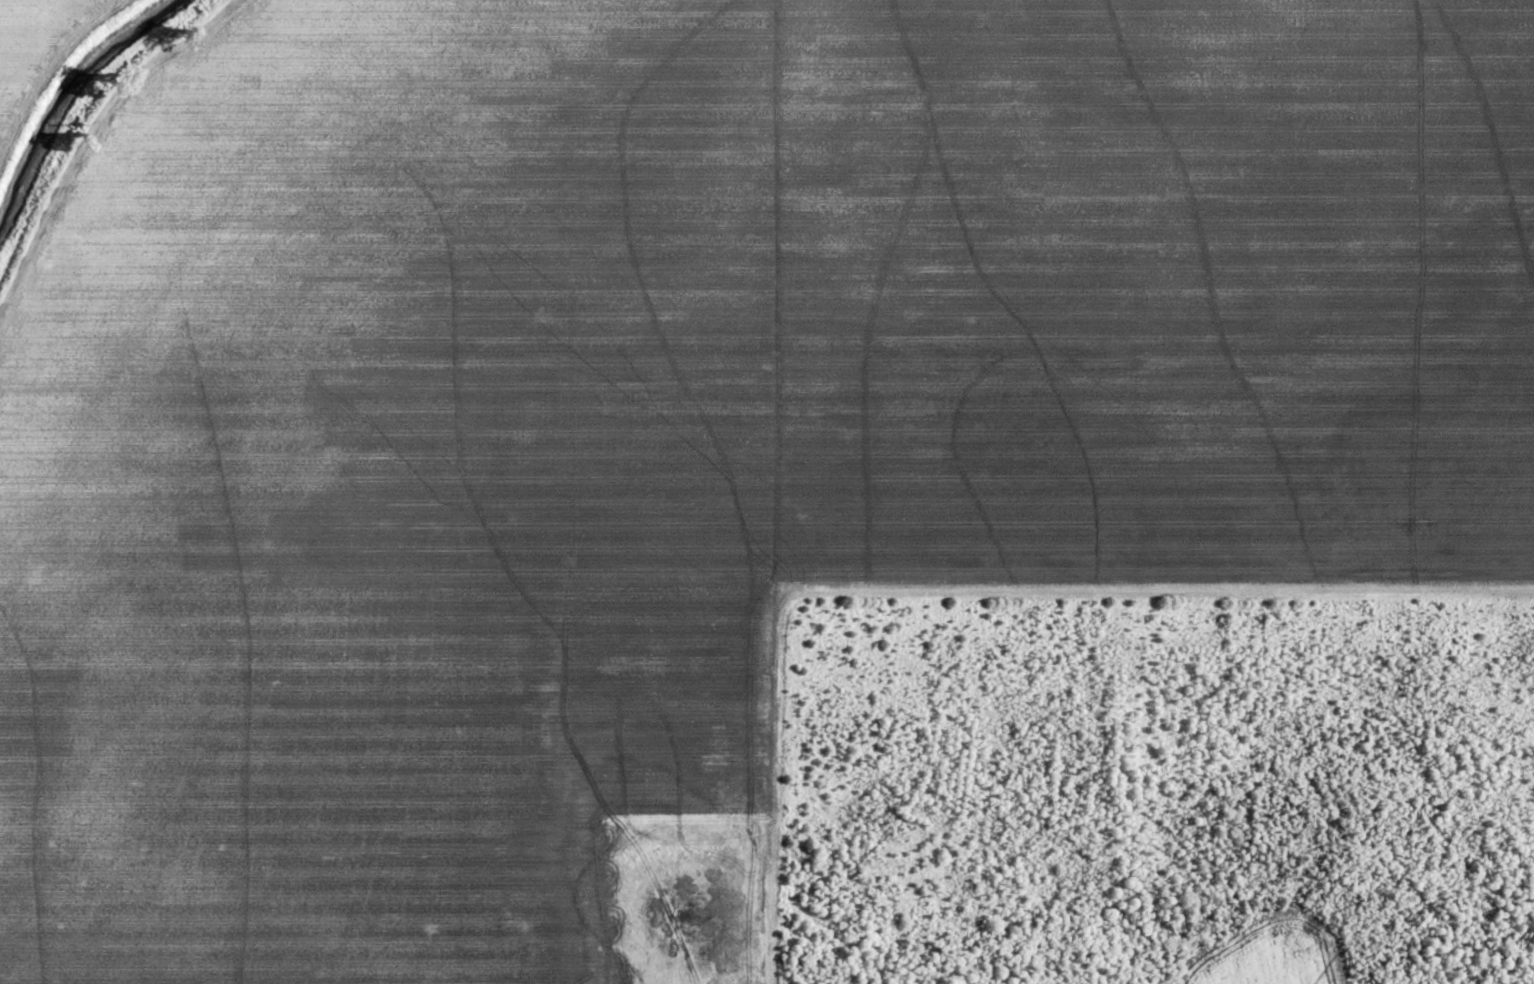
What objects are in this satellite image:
road: (92, 142)

